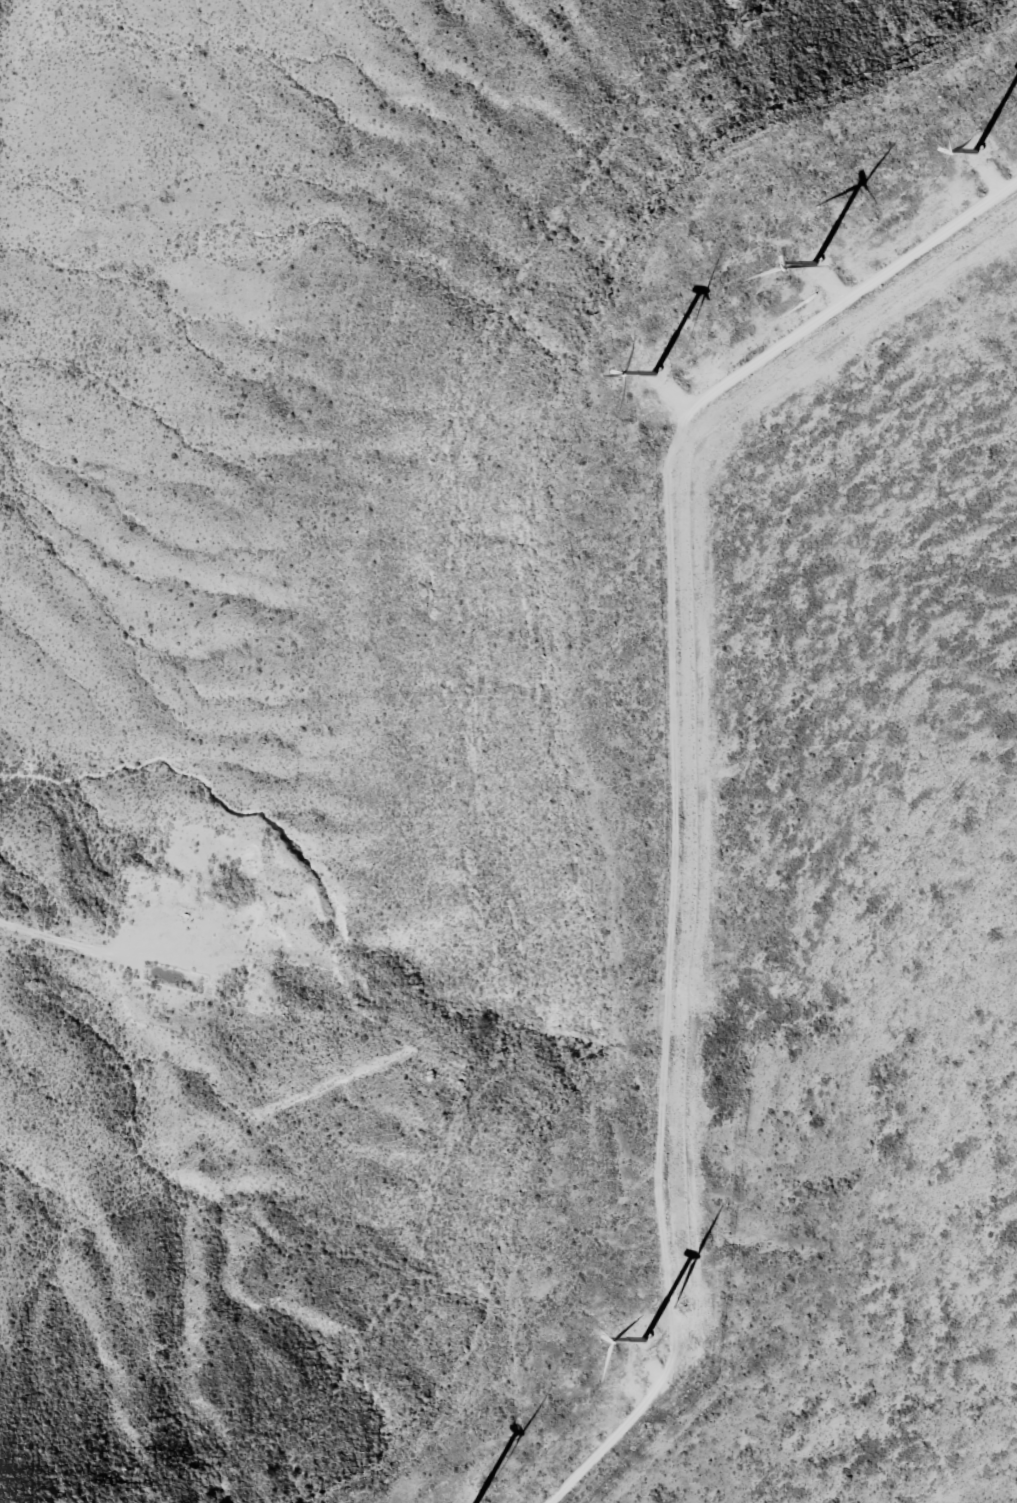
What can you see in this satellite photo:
wind turbine: (978, 158)
wind turbine: (810, 262)
wind turbine: (654, 376)
wind turbine: (648, 1346)

